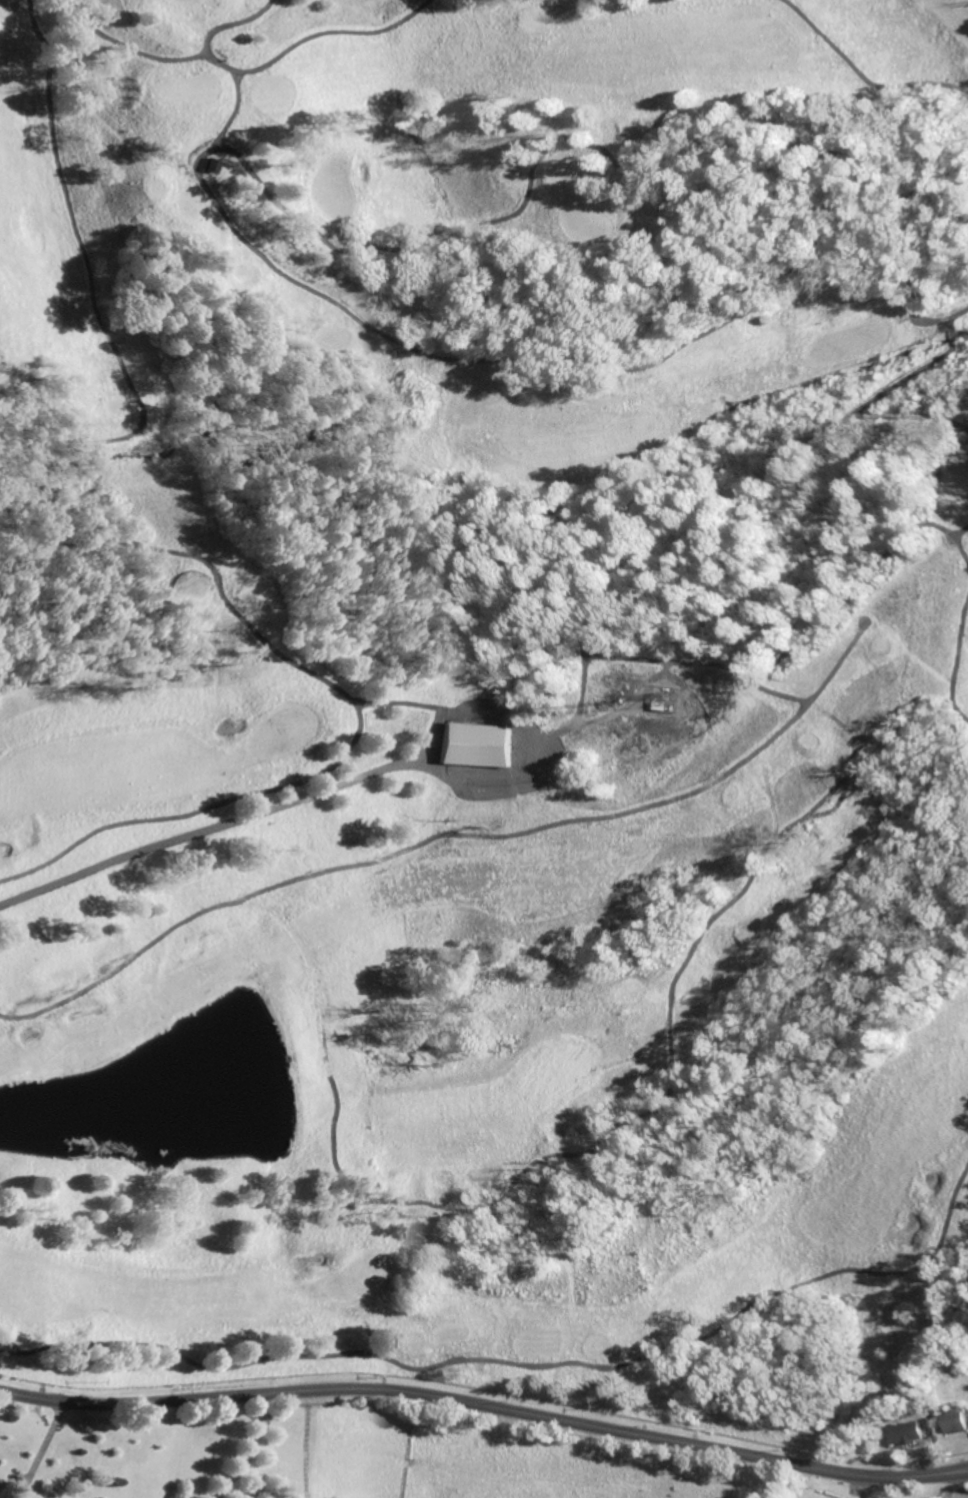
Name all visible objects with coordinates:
road: (231, 25)
road: (332, 32)
road: (189, 56)
road: (861, 72)
road: (585, 145)
building: (216, 165)
road: (946, 333)
road: (578, 369)
road: (914, 418)
road: (706, 535)
road: (966, 537)
road: (966, 546)
road: (135, 548)
road: (956, 658)
road: (673, 661)
road: (835, 662)
building: (667, 699)
road: (402, 704)
park: (485, 705)
road: (614, 716)
building: (477, 743)
road: (838, 808)
road: (220, 828)
road: (531, 829)
road: (605, 1130)
road: (517, 1364)
road: (486, 1408)
building: (957, 1421)
building: (909, 1433)
road: (40, 1450)
road: (249, 1450)
crop: (508, 1456)
road: (867, 1488)

